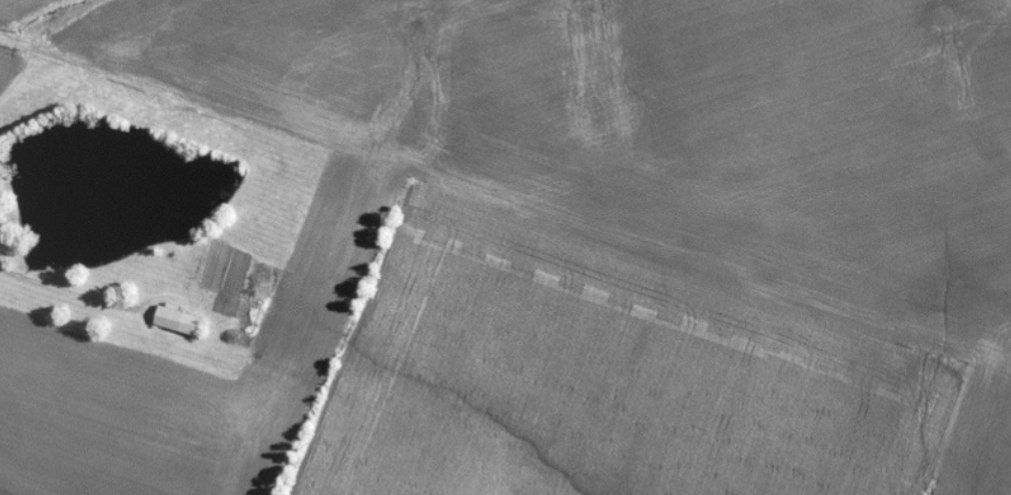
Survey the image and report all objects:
road: (415, 151)
building: (186, 322)

